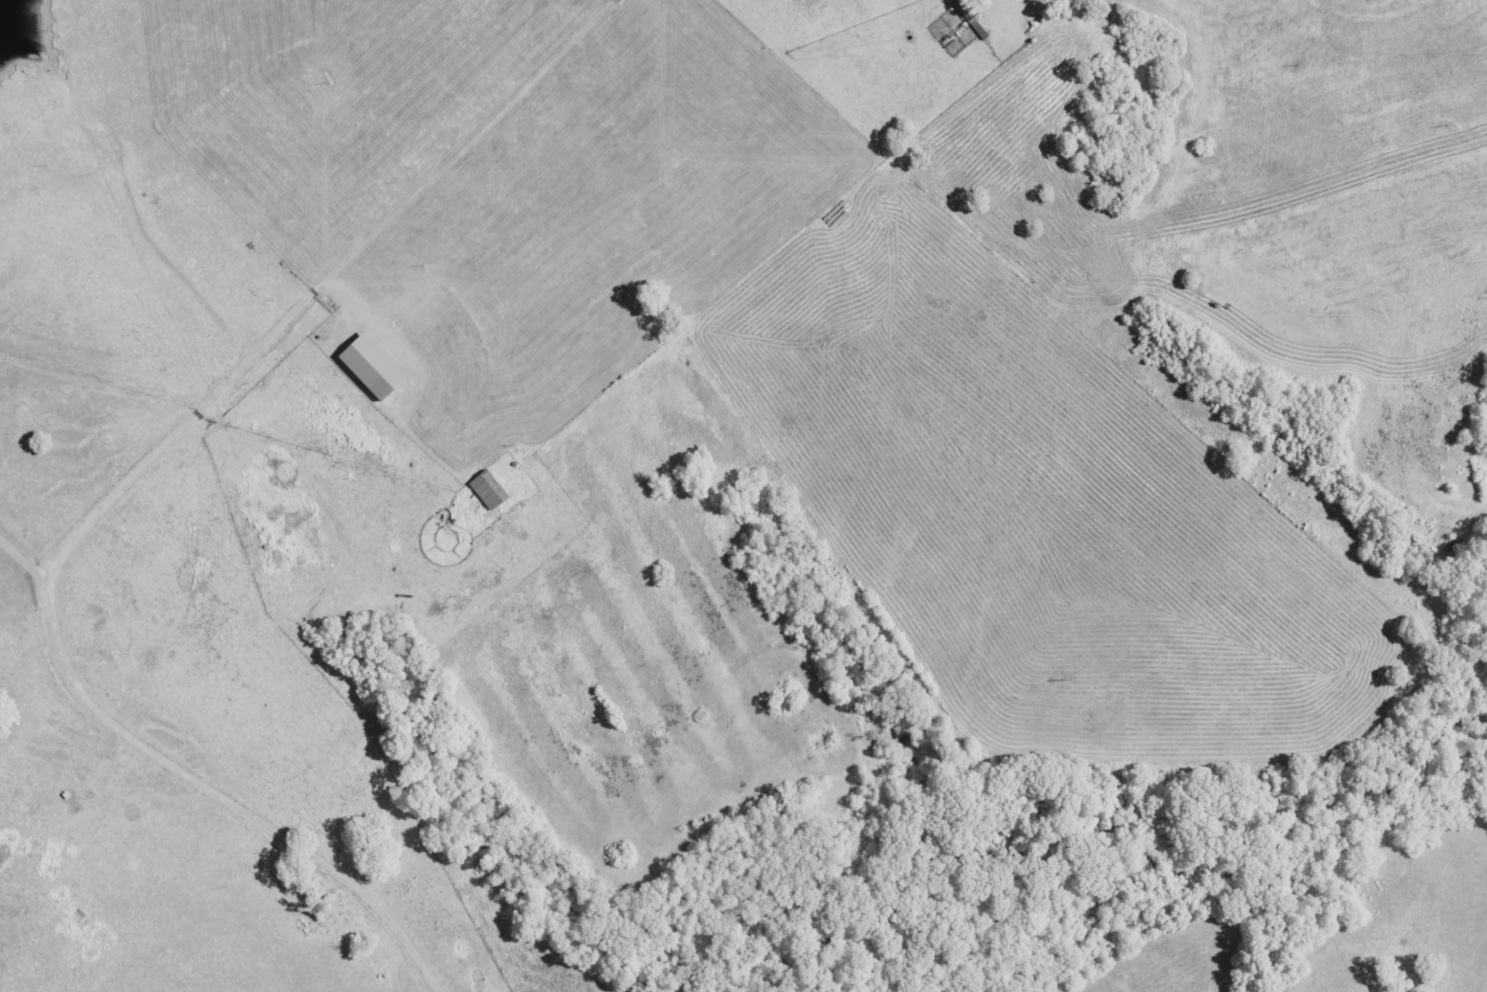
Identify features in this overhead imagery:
road: (336, 295)
building: (368, 367)
road: (201, 776)

